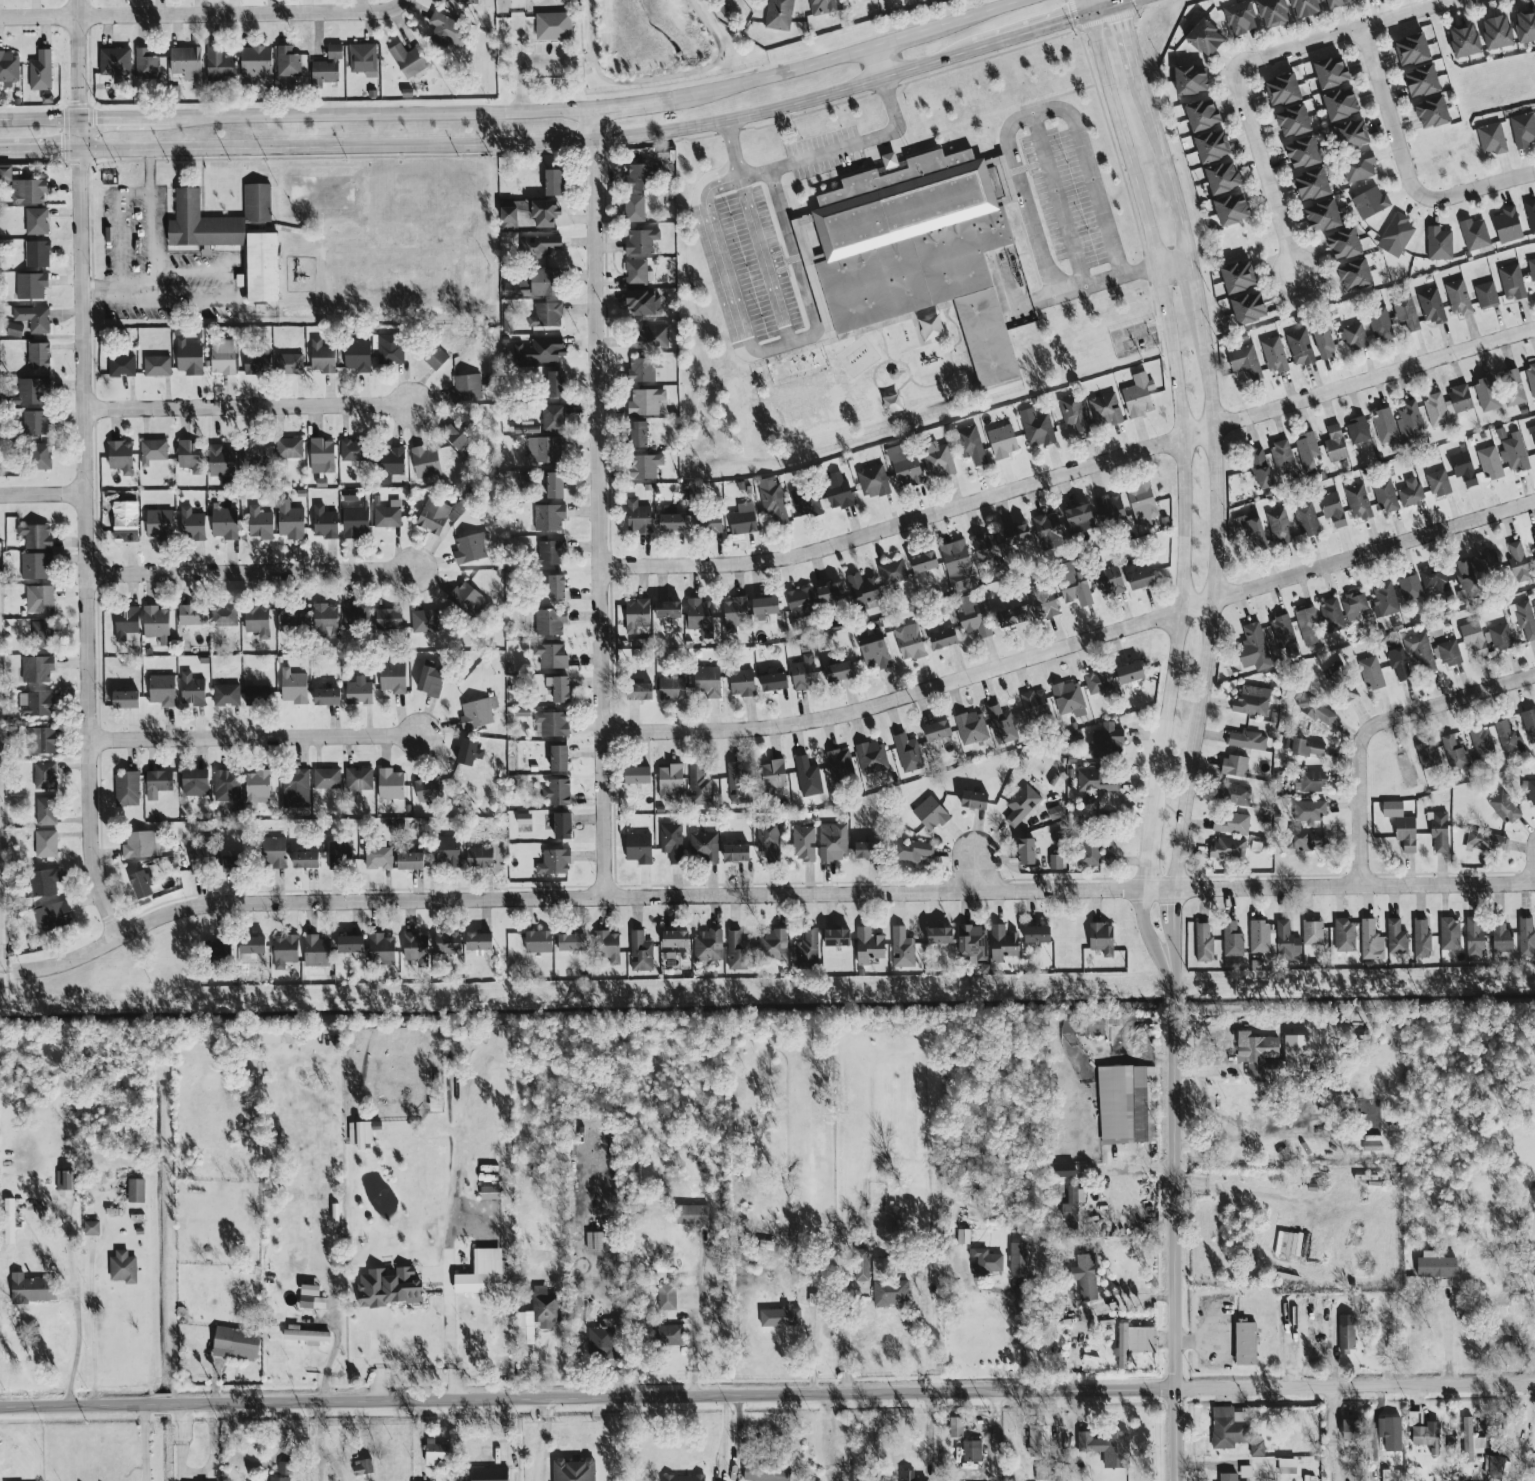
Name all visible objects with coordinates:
building: (1361, 0)
building: (730, 1)
building: (468, 2)
road: (1119, 3)
road: (1131, 3)
building: (1338, 3)
building: (823, 7)
road: (1087, 8)
building: (1307, 8)
road: (203, 13)
building: (1275, 13)
building: (779, 15)
building: (1242, 18)
traffic signals: (1065, 23)
building: (554, 26)
building: (1526, 26)
road: (1044, 29)
building: (449, 30)
road: (517, 30)
traffic signals: (1127, 31)
building: (1499, 32)
road: (1339, 33)
building: (1207, 37)
building: (1466, 40)
park: (658, 42)
road: (1129, 42)
building: (1414, 49)
building: (335, 51)
road: (582, 58)
building: (364, 59)
building: (409, 60)
building: (115, 61)
building: (186, 62)
building: (288, 62)
road: (519, 62)
road: (879, 63)
building: (147, 64)
building: (220, 64)
building: (257, 65)
building: (9, 68)
building: (41, 71)
building: (325, 72)
building: (1333, 72)
road: (659, 78)
building: (1193, 80)
building: (1424, 81)
building: (1284, 90)
traffic signals: (77, 100)
building: (1343, 104)
road: (521, 111)
building: (1434, 112)
building: (1204, 115)
road: (1391, 117)
traffic signals: (95, 118)
building: (1295, 121)
road: (596, 125)
building: (1523, 130)
building: (1353, 134)
road: (867, 138)
building: (1492, 139)
road: (490, 144)
road: (732, 144)
building: (1214, 146)
traffic signals: (59, 150)
building: (1305, 152)
road: (1083, 153)
road: (1162, 167)
building: (1359, 167)
traffic signals: (77, 168)
road: (148, 170)
road: (1264, 172)
building: (5, 173)
building: (641, 177)
building: (1224, 177)
building: (554, 182)
building: (1314, 185)
road: (1484, 185)
building: (29, 192)
building: (1371, 203)
building: (635, 208)
building: (1234, 209)
building: (530, 213)
building: (1530, 215)
building: (1324, 216)
road: (1030, 219)
building: (37, 221)
road: (117, 225)
building: (1508, 225)
road: (149, 231)
building: (1474, 234)
building: (1397, 235)
building: (234, 237)
building: (642, 241)
road: (791, 241)
building: (1439, 243)
building: (1346, 244)
building: (546, 246)
building: (917, 249)
building: (37, 254)
road: (763, 256)
building: (1532, 269)
road: (189, 270)
building: (638, 273)
road: (1120, 275)
building: (1357, 275)
building: (1241, 277)
road: (724, 282)
building: (1512, 282)
building: (536, 285)
road: (1194, 285)
building: (31, 286)
road: (123, 289)
building: (1486, 295)
building: (1458, 298)
building: (644, 303)
building: (1431, 306)
building: (1251, 308)
building: (1406, 313)
building: (547, 315)
building: (34, 319)
building: (1380, 325)
building: (15, 330)
building: (1355, 336)
building: (651, 338)
building: (1326, 343)
building: (1300, 347)
building: (391, 348)
building: (541, 350)
building: (1274, 355)
building: (39, 356)
building: (359, 356)
building: (223, 357)
building: (322, 357)
building: (190, 358)
building: (435, 358)
building: (1246, 362)
building: (258, 363)
building: (289, 363)
building: (122, 366)
building: (157, 366)
building: (642, 370)
building: (1531, 377)
building: (558, 384)
building: (1514, 387)
building: (466, 388)
building: (32, 393)
building: (1487, 395)
building: (1139, 396)
building: (646, 402)
building: (1447, 405)
road: (248, 406)
building: (1106, 410)
building: (1075, 412)
building: (553, 418)
road: (1181, 421)
building: (1409, 421)
building: (36, 423)
building: (1385, 426)
building: (1038, 428)
building: (1358, 430)
building: (1533, 431)
building: (640, 435)
building: (457, 436)
building: (1004, 442)
building: (1336, 444)
building: (972, 445)
building: (289, 448)
building: (353, 450)
building: (547, 450)
building: (153, 451)
building: (253, 451)
building: (1308, 451)
building: (1515, 453)
building: (42, 456)
building: (190, 456)
building: (322, 456)
building: (121, 457)
building: (1283, 458)
building: (939, 460)
building: (222, 461)
building: (427, 462)
building: (1491, 463)
building: (645, 466)
building: (906, 468)
building: (1464, 468)
road: (1072, 469)
building: (1262, 469)
road: (82, 471)
building: (873, 481)
building: (1439, 483)
building: (556, 485)
building: (838, 491)
building: (1411, 492)
road: (41, 493)
building: (351, 494)
building: (1386, 495)
building: (772, 502)
building: (1358, 502)
building: (1143, 504)
building: (805, 505)
building: (1333, 509)
building: (1111, 511)
building: (439, 515)
building: (388, 516)
building: (549, 517)
road: (601, 518)
building: (639, 518)
building: (744, 519)
building: (1082, 519)
building: (1307, 520)
building: (291, 521)
building: (356, 522)
building: (126, 523)
building: (160, 523)
building: (225, 523)
building: (325, 523)
building: (673, 523)
building: (261, 524)
building: (711, 524)
building: (192, 525)
building: (1280, 527)
building: (1253, 531)
building: (1049, 532)
building: (1017, 536)
building: (36, 537)
building: (1534, 539)
building: (471, 549)
building: (988, 549)
building: (552, 553)
building: (957, 559)
building: (926, 562)
building: (1519, 562)
building: (34, 567)
road: (250, 572)
building: (893, 572)
building: (1476, 574)
building: (1143, 579)
building: (1111, 581)
building: (1436, 582)
building: (1077, 585)
building: (558, 588)
building: (1410, 588)
building: (864, 589)
building: (832, 593)
building: (40, 599)
building: (469, 600)
building: (1384, 600)
building: (1044, 601)
road: (1221, 601)
building: (802, 603)
building: (1355, 605)
building: (767, 606)
building: (1533, 609)
building: (670, 610)
building: (736, 613)
building: (356, 614)
building: (700, 614)
building: (191, 615)
building: (224, 615)
building: (638, 615)
building: (1016, 615)
building: (973, 616)
building: (1332, 616)
building: (293, 617)
building: (389, 619)
building: (1523, 619)
building: (258, 621)
building: (326, 621)
building: (425, 621)
building: (550, 622)
building: (127, 623)
building: (157, 624)
building: (1309, 627)
building: (42, 634)
building: (1501, 638)
building: (945, 639)
building: (1475, 639)
building: (910, 642)
building: (1254, 642)
road: (1074, 645)
building: (876, 652)
building: (1450, 653)
building: (552, 656)
building: (1412, 657)
building: (37, 669)
building: (840, 672)
building: (805, 673)
building: (1373, 673)
building: (1132, 674)
building: (394, 678)
building: (432, 681)
building: (709, 682)
building: (776, 682)
building: (1099, 682)
building: (743, 683)
building: (294, 687)
building: (561, 689)
building: (673, 689)
building: (163, 690)
building: (193, 690)
building: (359, 692)
building: (641, 692)
building: (227, 695)
building: (257, 696)
building: (328, 697)
building: (1070, 699)
building: (127, 700)
building: (1253, 701)
building: (36, 704)
building: (1036, 706)
building: (1317, 710)
building: (476, 714)
road: (1377, 723)
building: (553, 724)
building: (1002, 724)
building: (972, 728)
building: (939, 731)
road: (254, 737)
building: (1074, 737)
building: (1507, 738)
building: (1248, 740)
building: (44, 741)
building: (1108, 742)
building: (1482, 744)
building: (1305, 747)
building: (468, 752)
building: (908, 752)
building: (1455, 754)
building: (1429, 756)
building: (872, 757)
building: (560, 759)
building: (1236, 765)
building: (841, 768)
building: (775, 774)
building: (45, 776)
building: (639, 776)
building: (808, 778)
building: (327, 779)
building: (359, 779)
building: (1097, 781)
building: (1314, 781)
building: (672, 782)
building: (196, 783)
building: (738, 783)
building: (158, 784)
building: (227, 786)
building: (257, 786)
building: (700, 786)
building: (392, 787)
building: (296, 789)
building: (127, 790)
building: (429, 790)
building: (558, 793)
building: (1529, 793)
building: (1233, 796)
building: (976, 801)
building: (1022, 805)
building: (1506, 807)
building: (1309, 811)
building: (46, 812)
building: (1056, 813)
building: (931, 814)
building: (524, 819)
building: (1232, 824)
building: (1403, 826)
building: (564, 827)
building: (1441, 833)
building: (1487, 841)
building: (833, 842)
building: (1311, 842)
building: (672, 843)
building: (46, 844)
building: (770, 844)
building: (804, 844)
building: (139, 845)
building: (640, 847)
building: (704, 847)
building: (1229, 849)
building: (449, 851)
building: (866, 851)
building: (910, 851)
building: (275, 852)
building: (1028, 852)
building: (1090, 852)
building: (340, 854)
building: (737, 854)
building: (480, 857)
building: (203, 859)
building: (379, 859)
building: (306, 860)
road: (1145, 861)
building: (411, 862)
building: (1056, 862)
building: (555, 863)
building: (231, 864)
road: (978, 872)
building: (43, 883)
building: (143, 885)
road: (1337, 885)
road: (572, 897)
road: (1181, 907)
building: (52, 917)
building: (1313, 932)
building: (1450, 934)
building: (1038, 935)
building: (1345, 935)
building: (941, 936)
building: (1260, 937)
building: (1526, 937)
building: (838, 938)
building: (1397, 938)
building: (1475, 938)
building: (1102, 939)
building: (1422, 939)
building: (1504, 939)
building: (677, 940)
road: (1150, 941)
building: (1233, 941)
building: (1287, 941)
building: (1372, 941)
building: (480, 942)
building: (539, 942)
building: (974, 942)
building: (1204, 942)
building: (448, 943)
building: (573, 943)
building: (773, 944)
building: (1003, 944)
building: (352, 945)
building: (609, 946)
building: (708, 946)
building: (870, 946)
building: (219, 948)
building: (417, 949)
building: (903, 949)
building: (252, 950)
building: (382, 950)
building: (808, 950)
building: (737, 951)
building: (317, 952)
building: (641, 952)
building: (286, 953)
road: (1177, 959)
road: (8, 971)
road: (0, 985)
building: (1087, 1027)
building: (1257, 1052)
building: (1126, 1103)
building: (360, 1134)
building: (67, 1179)
building: (136, 1190)
road: (1253, 1190)
building: (491, 1192)
building: (1073, 1204)
building: (693, 1214)
building: (10, 1221)
building: (92, 1228)
road: (1179, 1235)
building: (598, 1241)
building: (1020, 1258)
building: (987, 1261)
building: (862, 1265)
building: (1437, 1265)
building: (123, 1267)
building: (483, 1273)
building: (1086, 1276)
building: (889, 1284)
building: (390, 1287)
building: (33, 1288)
building: (1517, 1297)
building: (667, 1298)
road: (1133, 1298)
building: (313, 1302)
building: (545, 1305)
road: (76, 1310)
building: (1507, 1311)
building: (781, 1317)
road: (1021, 1326)
road: (415, 1327)
building: (1347, 1333)
building: (307, 1335)
building: (526, 1335)
building: (666, 1335)
road: (1447, 1340)
building: (602, 1341)
building: (1135, 1342)
building: (237, 1343)
building: (1246, 1343)
road: (767, 1397)
road: (1332, 1417)
building: (1228, 1427)
building: (957, 1430)
building: (1351, 1430)
building: (1391, 1433)
building: (1472, 1435)
building: (1429, 1436)
building: (1040, 1440)
road: (542, 1441)
road: (319, 1442)
road: (145, 1443)
road: (181, 1443)
building: (1102, 1447)
building: (1258, 1448)
road: (211, 1451)
building: (972, 1451)
building: (437, 1454)
road: (1334, 1463)
building: (1288, 1466)
building: (1494, 1466)
building: (363, 1467)
building: (284, 1468)
building: (574, 1470)
building: (1246, 1471)
building: (767, 1473)
building: (490, 1474)
building: (907, 1475)
building: (1229, 1477)
building: (685, 1478)
building: (279, 1479)

